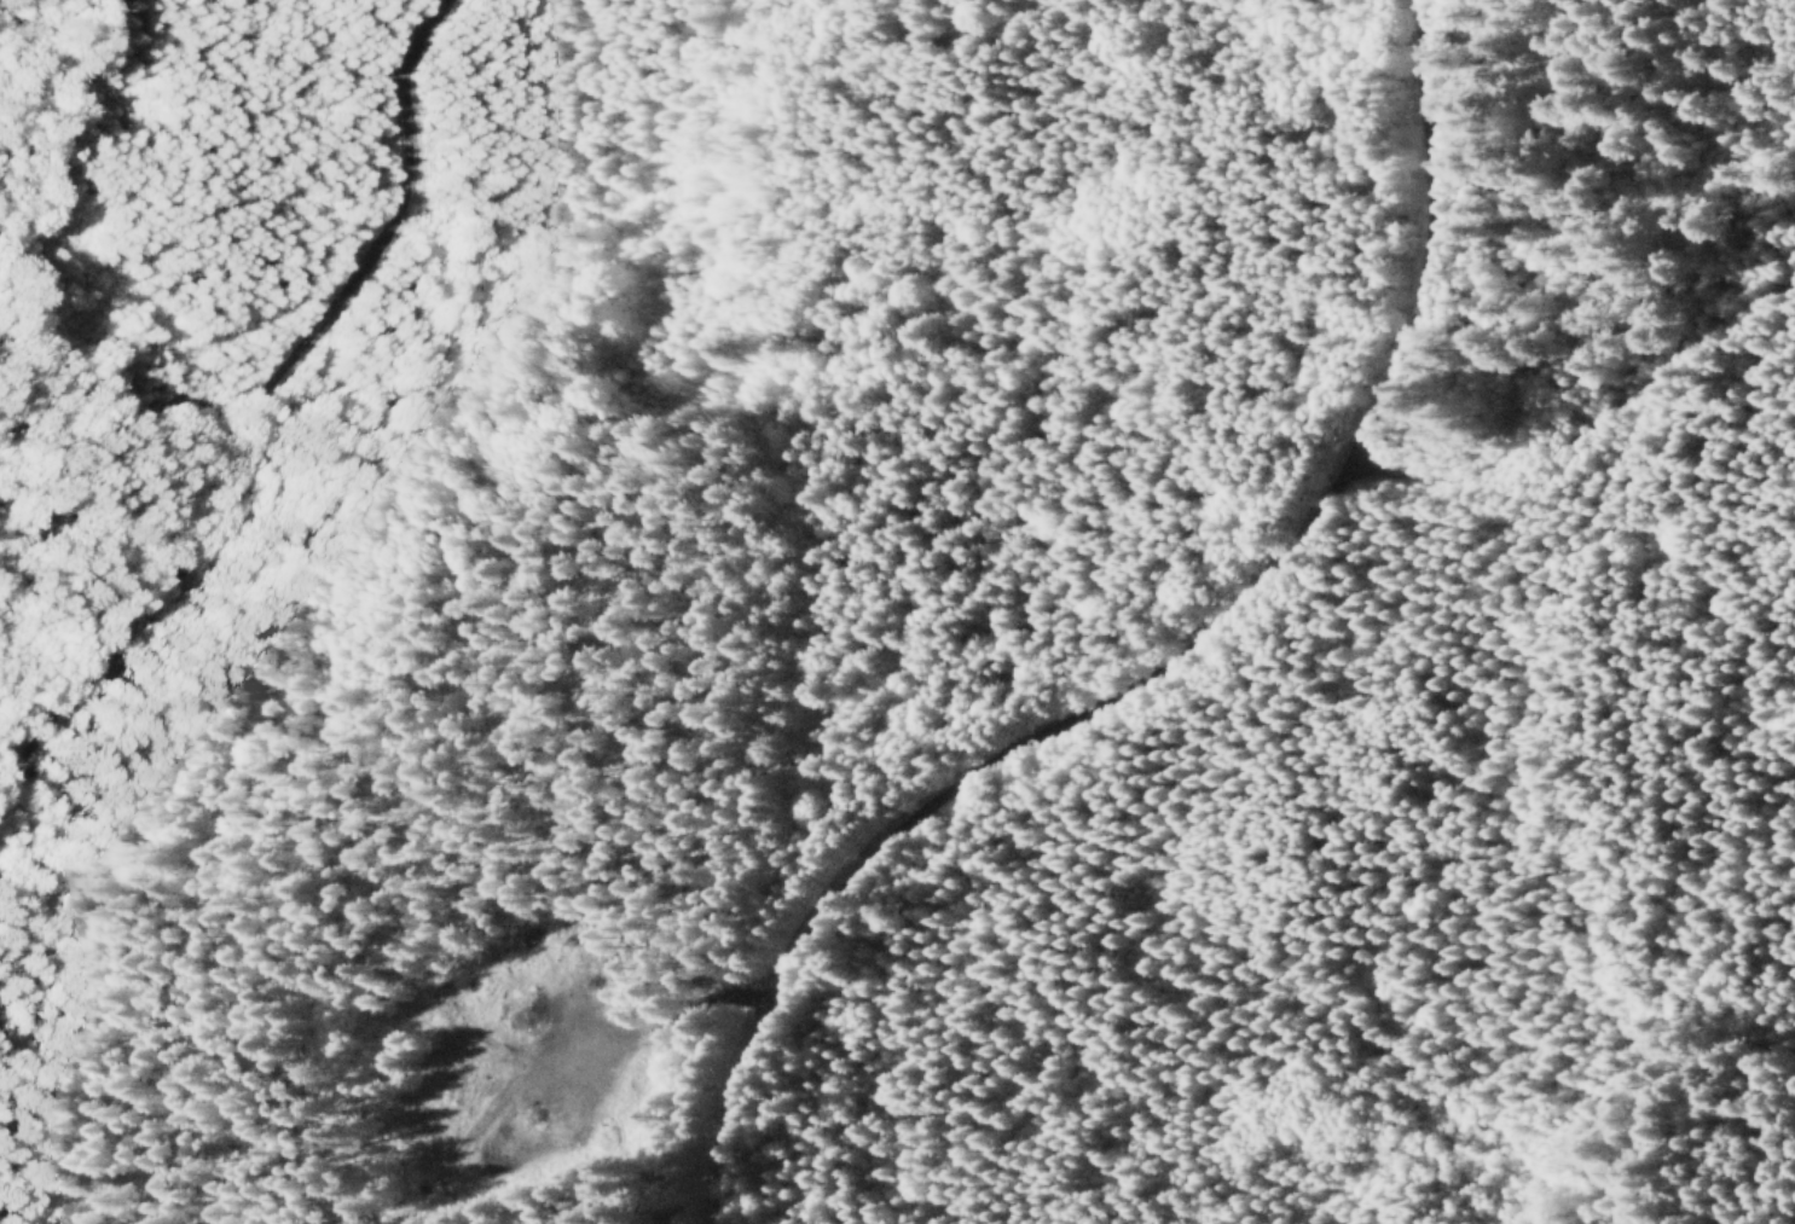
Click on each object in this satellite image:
road: (233, 401)
road: (1157, 666)

